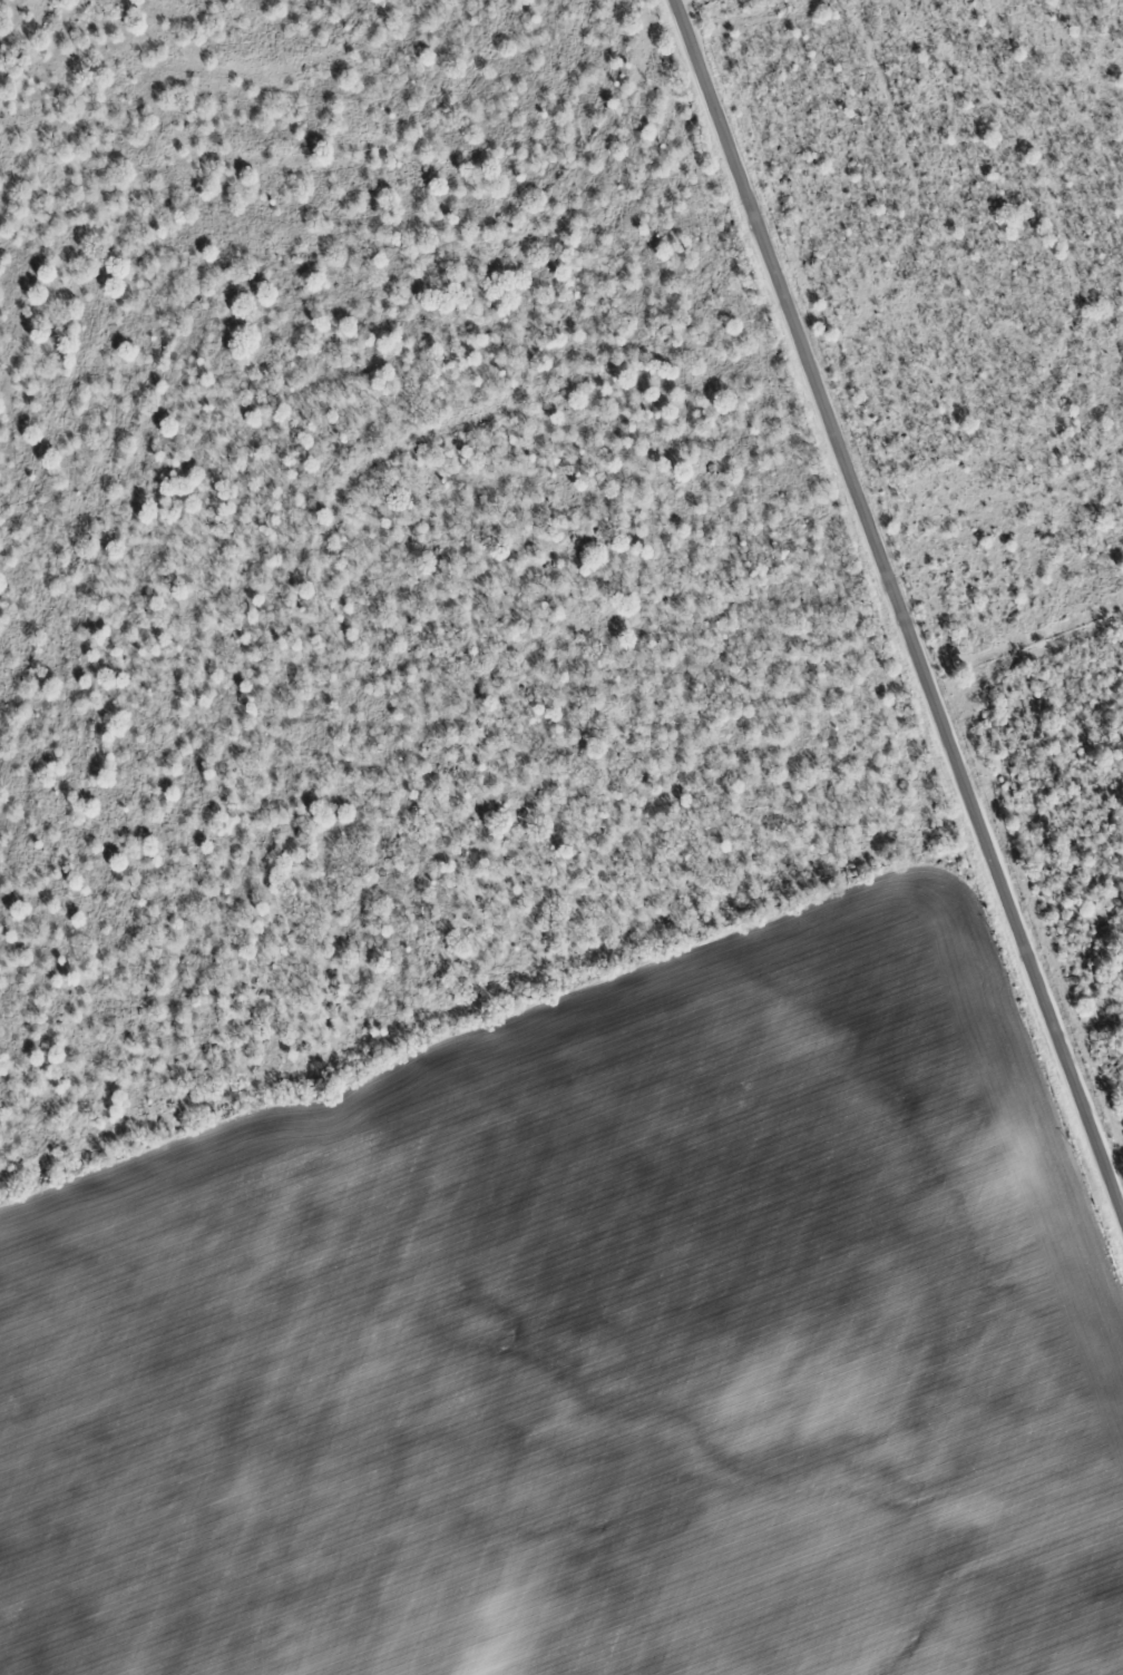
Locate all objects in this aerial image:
road: (897, 607)

